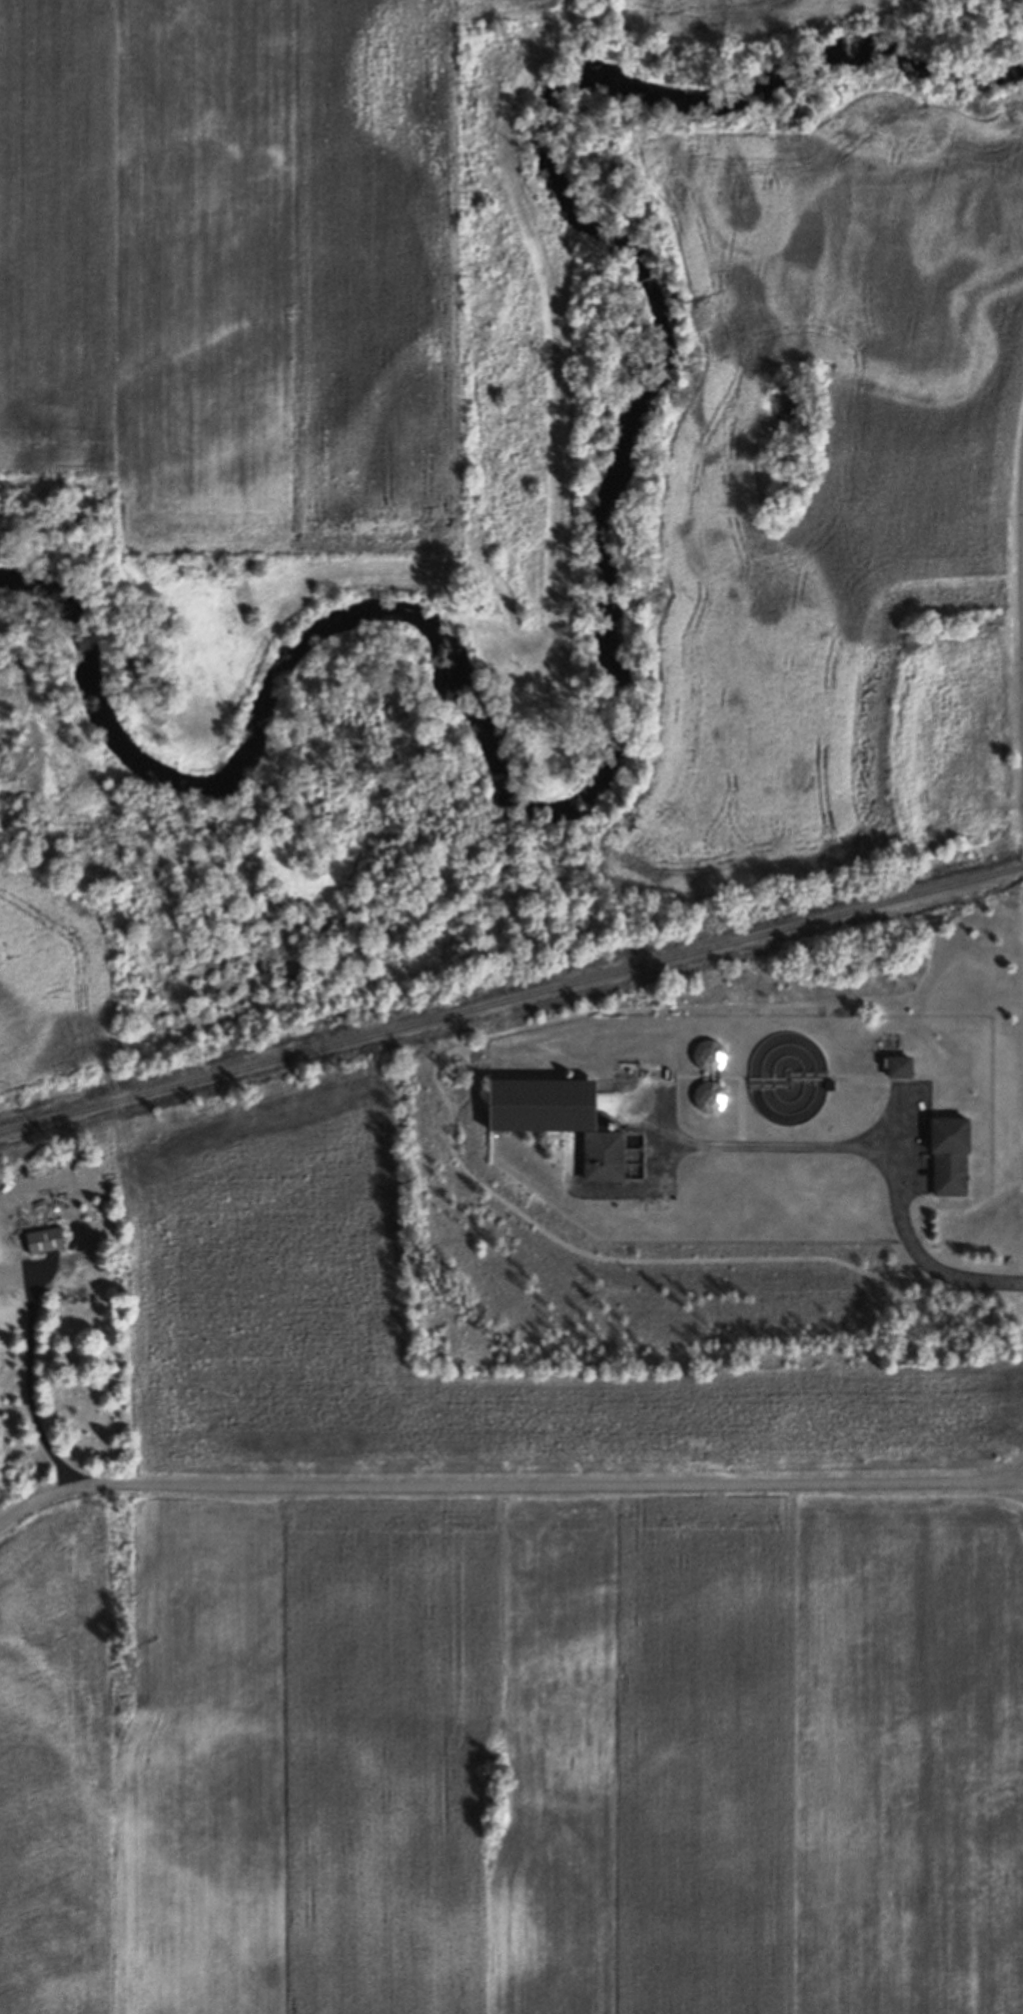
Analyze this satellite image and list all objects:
railway: (511, 999)
building: (713, 1055)
building: (897, 1064)
building: (713, 1097)
building: (561, 1118)
road: (661, 1139)
road: (781, 1148)
building: (948, 1152)
road: (912, 1238)
building: (44, 1240)
building: (81, 1303)
road: (32, 1397)
road: (1018, 1474)
road: (507, 1487)

